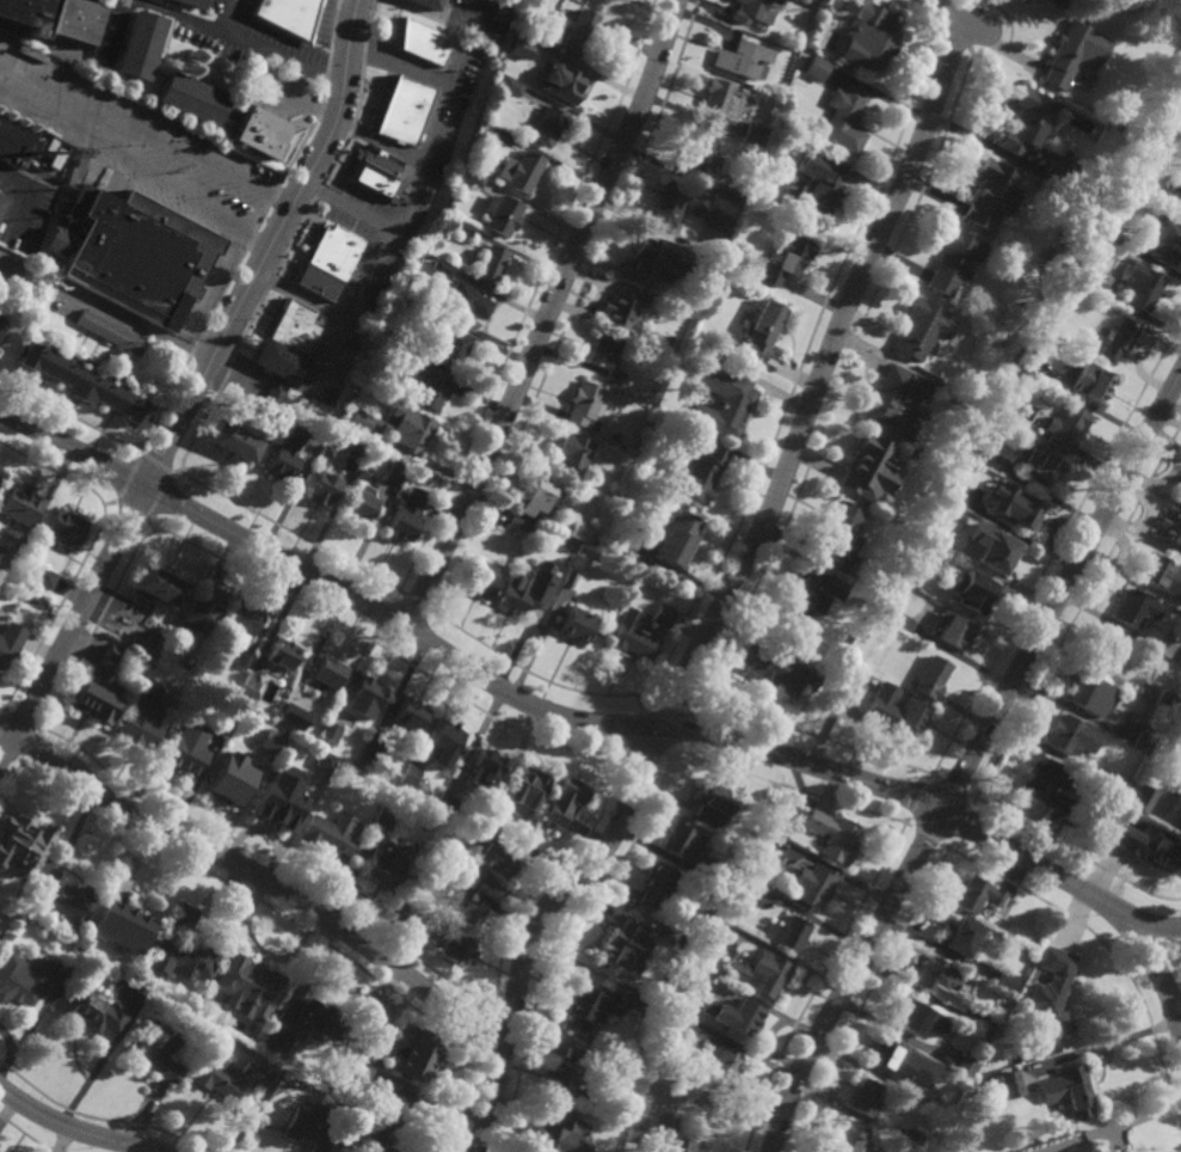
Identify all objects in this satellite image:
building: (598, 1)
building: (1059, 1)
building: (193, 2)
building: (431, 2)
building: (753, 10)
building: (500, 12)
building: (288, 14)
road: (179, 16)
building: (54, 18)
road: (955, 19)
road: (117, 26)
building: (576, 29)
road: (935, 29)
building: (869, 37)
road: (953, 37)
building: (423, 41)
building: (139, 43)
building: (530, 47)
building: (517, 49)
road: (271, 50)
road: (970, 51)
building: (1066, 53)
building: (740, 57)
building: (816, 67)
building: (560, 79)
building: (510, 84)
road: (278, 91)
building: (191, 97)
building: (718, 100)
building: (404, 109)
road: (444, 115)
building: (843, 118)
building: (1028, 121)
building: (545, 124)
building: (222, 130)
building: (752, 133)
building: (254, 135)
building: (503, 136)
building: (19, 141)
road: (189, 151)
building: (700, 152)
building: (1180, 160)
building: (1180, 163)
road: (136, 167)
building: (519, 170)
building: (376, 174)
building: (475, 178)
building: (814, 184)
building: (988, 191)
building: (1179, 192)
road: (29, 198)
building: (2, 206)
building: (681, 209)
building: (1179, 209)
building: (500, 213)
building: (1100, 226)
building: (461, 227)
building: (1163, 239)
building: (137, 257)
building: (785, 259)
building: (644, 261)
building: (953, 261)
building: (327, 262)
building: (490, 264)
building: (1076, 272)
building: (1144, 288)
road: (219, 296)
building: (685, 299)
building: (467, 301)
building: (424, 312)
building: (625, 312)
road: (546, 315)
road: (134, 326)
building: (918, 329)
building: (0, 330)
building: (761, 331)
building: (109, 332)
building: (0, 338)
building: (1119, 341)
building: (287, 342)
building: (450, 345)
building: (603, 356)
building: (1023, 363)
building: (1087, 382)
building: (431, 384)
building: (84, 385)
road: (197, 385)
building: (886, 398)
building: (722, 402)
building: (273, 405)
building: (584, 406)
building: (359, 422)
building: (1066, 427)
building: (407, 428)
building: (616, 437)
building: (234, 442)
road: (140, 448)
building: (357, 449)
building: (973, 449)
building: (573, 455)
building: (285, 456)
road: (156, 462)
building: (862, 464)
building: (1040, 468)
road: (177, 470)
road: (54, 472)
building: (395, 472)
building: (700, 474)
road: (129, 477)
building: (324, 489)
building: (952, 489)
building: (536, 496)
building: (1180, 500)
building: (1180, 502)
building: (361, 503)
road: (109, 504)
building: (20, 505)
building: (1013, 505)
building: (405, 516)
building: (516, 523)
building: (1170, 528)
building: (64, 529)
building: (576, 532)
building: (838, 532)
building: (679, 539)
building: (994, 550)
road: (345, 560)
building: (1155, 571)
building: (908, 575)
building: (570, 577)
building: (45, 580)
building: (481, 580)
building: (160, 587)
road: (400, 590)
building: (527, 592)
building: (805, 593)
road: (1062, 593)
building: (976, 594)
road: (728, 596)
road: (416, 600)
road: (59, 607)
road: (433, 609)
building: (1136, 609)
building: (203, 611)
building: (886, 612)
building: (245, 620)
building: (135, 624)
building: (576, 625)
building: (953, 630)
building: (641, 632)
building: (10, 644)
building: (1111, 649)
building: (282, 656)
building: (246, 657)
road: (453, 658)
building: (1179, 660)
building: (776, 668)
building: (190, 669)
building: (328, 673)
road: (707, 675)
building: (931, 675)
road: (586, 692)
building: (1090, 692)
building: (245, 693)
building: (98, 697)
building: (364, 697)
road: (691, 698)
road: (640, 700)
road: (665, 701)
building: (1165, 701)
road: (2, 705)
road: (5, 709)
building: (897, 709)
building: (410, 712)
building: (283, 716)
building: (142, 717)
building: (221, 725)
road: (39, 729)
building: (331, 730)
road: (33, 733)
building: (447, 735)
building: (1071, 735)
building: (1144, 740)
building: (270, 741)
building: (186, 747)
building: (263, 748)
building: (368, 753)
road: (21, 760)
building: (324, 761)
building: (363, 766)
building: (487, 766)
building: (410, 774)
building: (228, 780)
building: (1047, 783)
building: (1120, 784)
building: (528, 786)
building: (278, 797)
building: (564, 797)
building: (1142, 798)
building: (713, 802)
building: (447, 804)
traffic signals: (942, 809)
building: (1175, 809)
building: (382, 820)
building: (1180, 825)
building: (487, 826)
building: (328, 832)
building: (832, 835)
building: (757, 839)
building: (687, 846)
building: (1079, 846)
building: (1149, 848)
building: (1089, 851)
building: (18, 858)
building: (491, 860)
building: (387, 863)
road: (258, 875)
building: (658, 877)
building: (742, 880)
building: (812, 883)
road: (1090, 893)
building: (977, 894)
building: (64, 901)
building: (648, 901)
building: (13, 903)
building: (466, 907)
building: (8, 913)
building: (401, 918)
building: (121, 923)
building: (718, 924)
road: (1149, 924)
building: (787, 932)
building: (669, 933)
building: (958, 935)
building: (450, 942)
building: (625, 943)
building: (182, 948)
building: (759, 973)
building: (23, 976)
road: (849, 976)
building: (687, 979)
building: (940, 980)
building: (1007, 980)
building: (201, 985)
building: (247, 985)
building: (1053, 989)
building: (638, 1003)
building: (590, 1004)
building: (93, 1011)
building: (375, 1012)
building: (665, 1013)
building: (910, 1015)
building: (738, 1017)
building: (314, 1021)
building: (988, 1024)
building: (396, 1047)
building: (416, 1049)
building: (155, 1050)
building: (573, 1054)
building: (627, 1056)
building: (888, 1060)
building: (1016, 1060)
building: (721, 1066)
building: (966, 1066)
building: (362, 1068)
road: (92, 1071)
building: (226, 1078)
building: (556, 1079)
building: (1008, 1084)
building: (281, 1089)
building: (971, 1089)
building: (1071, 1090)
building: (867, 1097)
building: (945, 1103)
building: (393, 1108)
building: (307, 1126)
road: (72, 1128)
building: (351, 1130)
building: (668, 1135)
building: (556, 1136)
building: (849, 1136)
building: (911, 1139)
building: (1082, 1147)
building: (383, 1148)
building: (1103, 1151)

